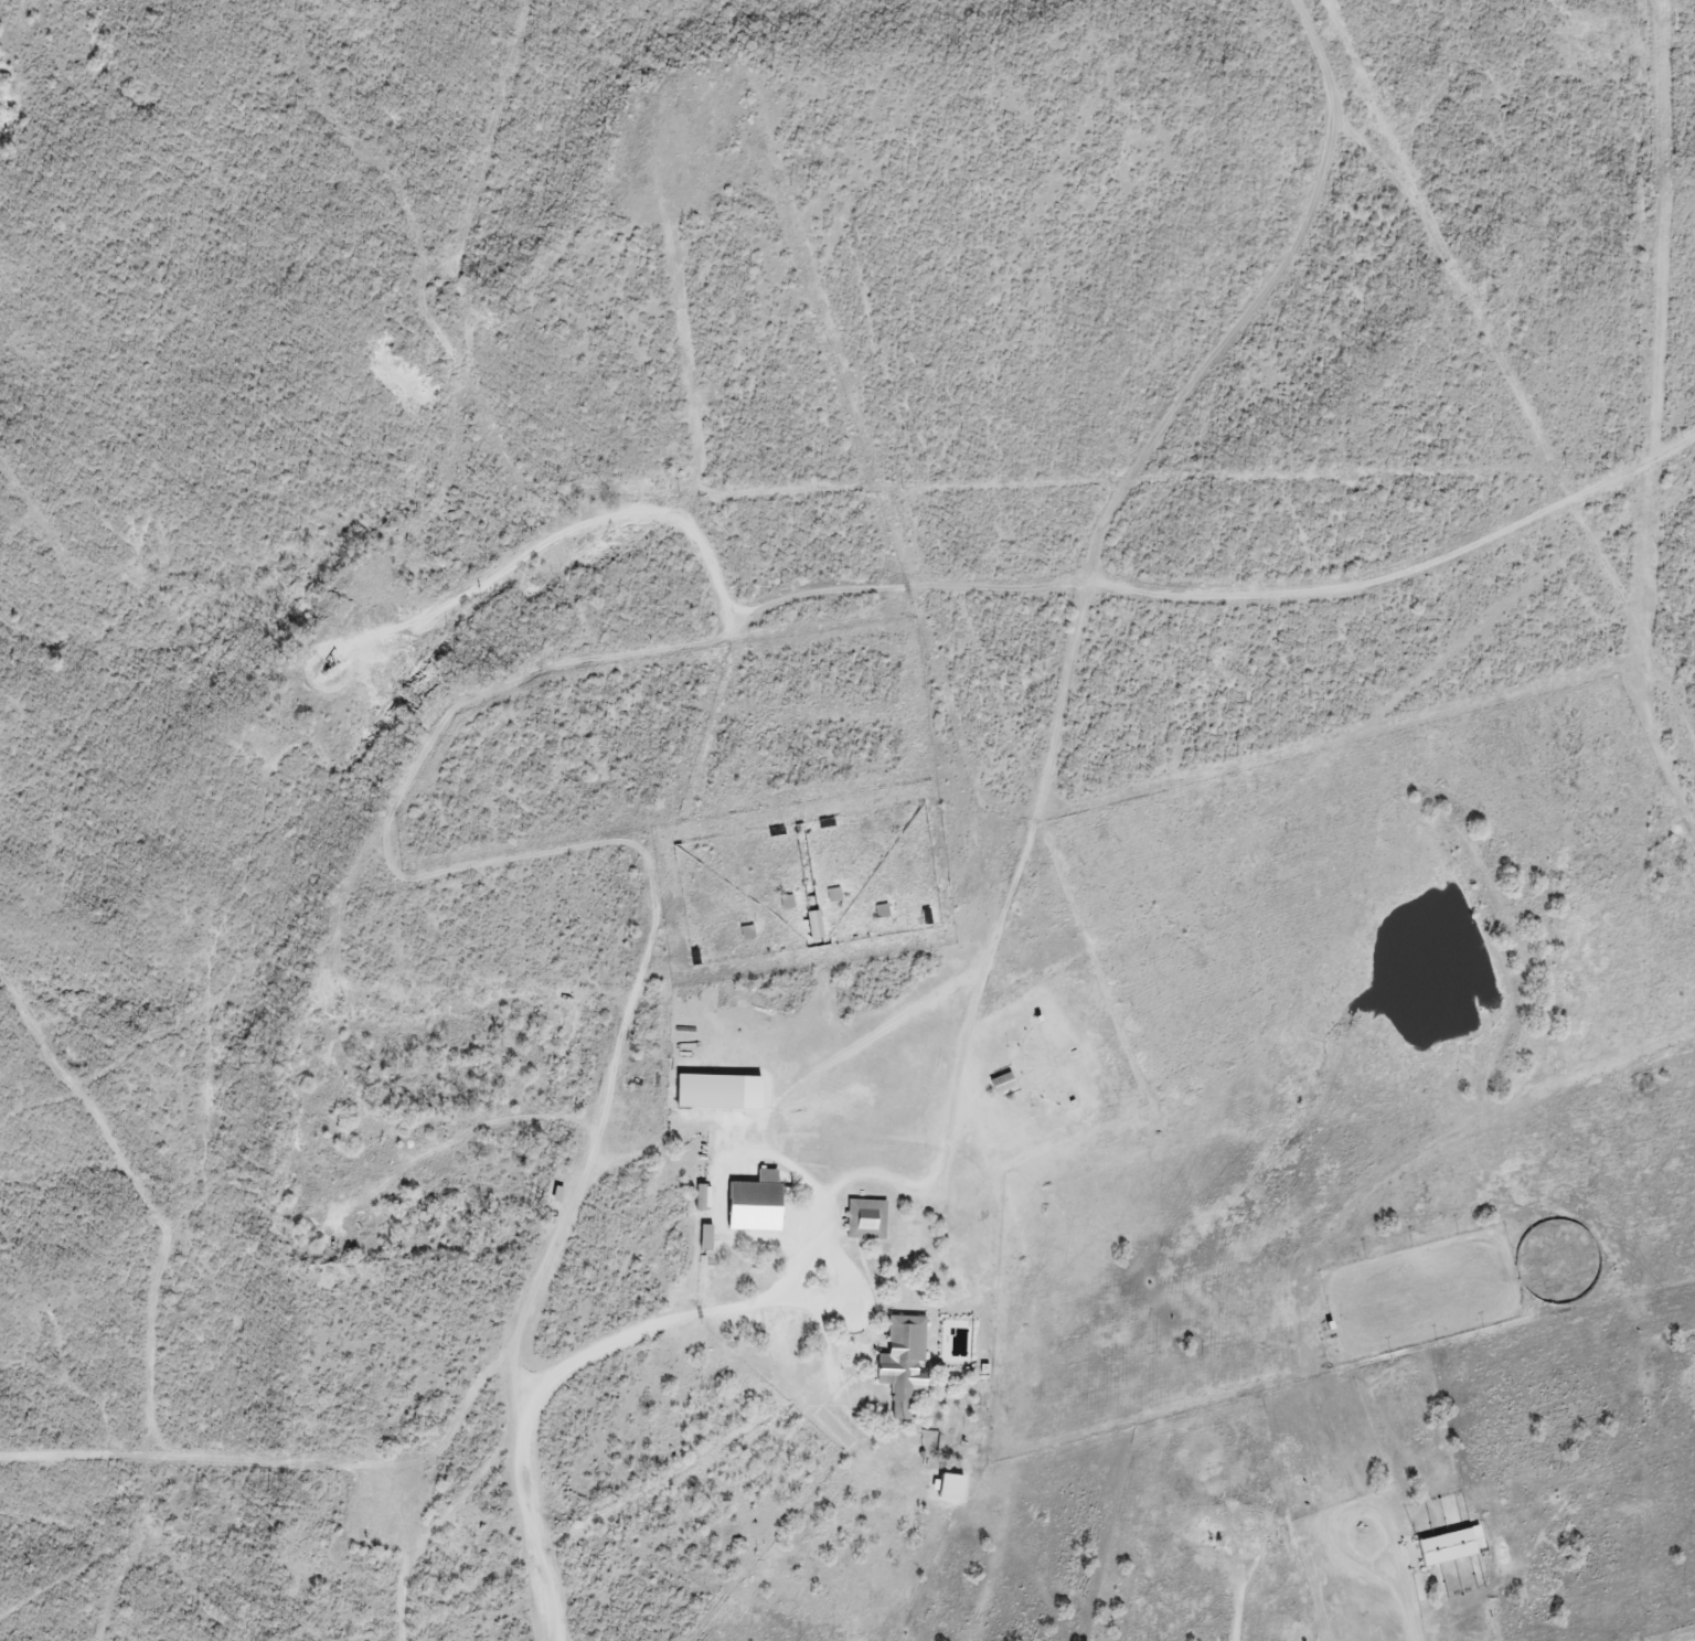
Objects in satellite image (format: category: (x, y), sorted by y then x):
building: (815, 924)
building: (1003, 1080)
building: (719, 1088)
building: (558, 1192)
building: (701, 1195)
building: (756, 1201)
building: (868, 1216)
building: (707, 1235)
building: (903, 1361)
building: (953, 1484)
building: (1450, 1546)

